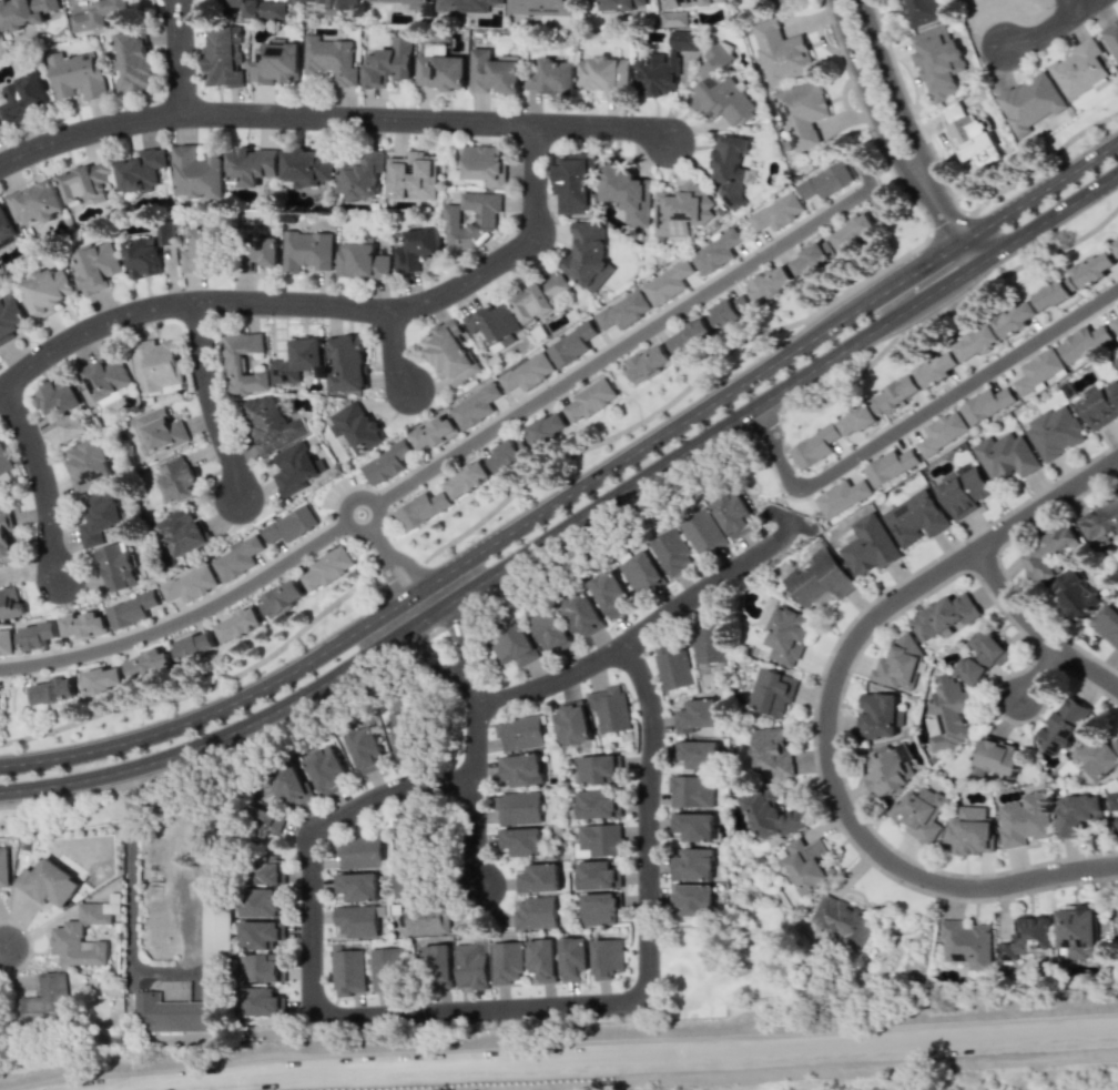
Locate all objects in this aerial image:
building: (398, 0)
building: (331, 2)
building: (465, 4)
building: (621, 4)
building: (541, 7)
road: (1080, 7)
building: (251, 9)
building: (919, 11)
building: (24, 12)
building: (101, 16)
building: (673, 19)
road: (1059, 29)
building: (1111, 38)
building: (781, 52)
road: (184, 57)
building: (223, 57)
building: (331, 59)
building: (131, 61)
building: (937, 61)
building: (276, 62)
building: (388, 63)
building: (664, 65)
building: (440, 69)
building: (1078, 69)
building: (494, 72)
building: (603, 74)
building: (78, 75)
building: (551, 77)
building: (720, 90)
building: (24, 97)
building: (1029, 102)
road: (334, 117)
building: (0, 128)
road: (904, 135)
building: (969, 135)
building: (253, 161)
building: (485, 164)
road: (1047, 164)
building: (307, 165)
building: (197, 169)
building: (730, 169)
building: (140, 170)
building: (360, 175)
building: (411, 175)
building: (825, 181)
building: (85, 182)
building: (573, 185)
road: (866, 188)
building: (627, 192)
building: (35, 202)
building: (681, 210)
building: (776, 212)
building: (471, 221)
building: (6, 225)
building: (853, 232)
building: (415, 248)
building: (1114, 248)
building: (201, 250)
building: (258, 250)
building: (307, 251)
building: (715, 252)
building: (588, 255)
building: (811, 256)
building: (142, 258)
building: (362, 260)
building: (96, 266)
building: (1092, 270)
building: (668, 283)
building: (770, 283)
building: (45, 291)
building: (1055, 294)
building: (540, 299)
road: (322, 303)
building: (1117, 305)
building: (730, 310)
building: (623, 311)
building: (10, 317)
building: (1015, 319)
building: (492, 324)
building: (1115, 324)
building: (689, 336)
building: (1083, 342)
building: (976, 343)
building: (571, 344)
road: (399, 349)
building: (449, 352)
building: (297, 360)
building: (1116, 361)
building: (242, 363)
building: (347, 363)
building: (647, 363)
building: (155, 364)
building: (936, 370)
building: (528, 372)
building: (1039, 372)
building: (106, 380)
road: (959, 387)
building: (898, 393)
building: (590, 400)
road: (216, 401)
building: (986, 404)
building: (1099, 404)
building: (475, 406)
building: (60, 411)
building: (858, 420)
building: (270, 423)
building: (355, 426)
building: (548, 427)
building: (161, 430)
building: (434, 432)
building: (1055, 432)
building: (942, 433)
building: (814, 446)
road: (772, 450)
building: (506, 454)
building: (1006, 456)
road: (447, 458)
building: (4, 460)
building: (386, 463)
building: (88, 464)
building: (890, 466)
building: (295, 467)
building: (468, 477)
road: (45, 478)
building: (177, 480)
road: (575, 490)
building: (962, 490)
building: (842, 496)
building: (421, 508)
building: (733, 514)
building: (914, 517)
building: (100, 518)
building: (1102, 519)
road: (576, 521)
building: (291, 524)
road: (477, 526)
building: (182, 531)
building: (702, 533)
building: (6, 538)
building: (868, 546)
building: (672, 552)
building: (1046, 552)
building: (237, 559)
road: (396, 563)
building: (118, 566)
building: (327, 568)
building: (641, 573)
building: (817, 578)
building: (190, 584)
building: (610, 595)
building: (1075, 595)
building: (282, 597)
building: (10, 602)
building: (130, 609)
building: (581, 613)
building: (944, 616)
building: (238, 624)
building: (1107, 624)
building: (83, 625)
building: (548, 628)
road: (1037, 629)
road: (638, 632)
building: (39, 634)
building: (786, 635)
building: (6, 642)
building: (708, 644)
building: (196, 645)
building: (515, 646)
building: (982, 655)
building: (148, 664)
building: (898, 664)
building: (673, 666)
road: (1040, 674)
building: (101, 679)
building: (52, 690)
building: (772, 692)
building: (609, 708)
building: (695, 715)
building: (878, 715)
building: (948, 715)
road: (827, 716)
building: (572, 723)
building: (519, 733)
building: (402, 735)
road: (478, 741)
building: (366, 749)
building: (771, 751)
building: (699, 754)
building: (998, 756)
building: (1098, 757)
building: (327, 768)
building: (599, 768)
building: (521, 769)
building: (888, 769)
building: (292, 785)
building: (689, 791)
building: (1111, 800)
building: (596, 805)
building: (517, 808)
building: (918, 813)
building: (1077, 814)
building: (771, 815)
building: (264, 820)
building: (1025, 820)
building: (693, 826)
building: (970, 830)
building: (409, 835)
building: (598, 840)
building: (521, 841)
building: (359, 852)
building: (693, 864)
building: (806, 865)
building: (4, 867)
building: (268, 869)
building: (597, 875)
road: (130, 877)
building: (539, 878)
building: (48, 882)
building: (358, 886)
building: (692, 899)
building: (261, 902)
building: (599, 908)
building: (533, 912)
building: (427, 919)
building: (355, 921)
building: (841, 921)
building: (1116, 921)
building: (67, 933)
building: (261, 933)
building: (1078, 933)
building: (1026, 938)
building: (965, 943)
road: (3, 948)
building: (218, 950)
building: (571, 958)
building: (606, 958)
park: (721, 958)
building: (540, 959)
building: (505, 962)
building: (436, 965)
building: (469, 966)
road: (160, 967)
building: (383, 967)
building: (262, 968)
building: (347, 971)
building: (43, 998)
building: (260, 1001)
road: (486, 1006)
building: (167, 1012)
road: (622, 1056)

